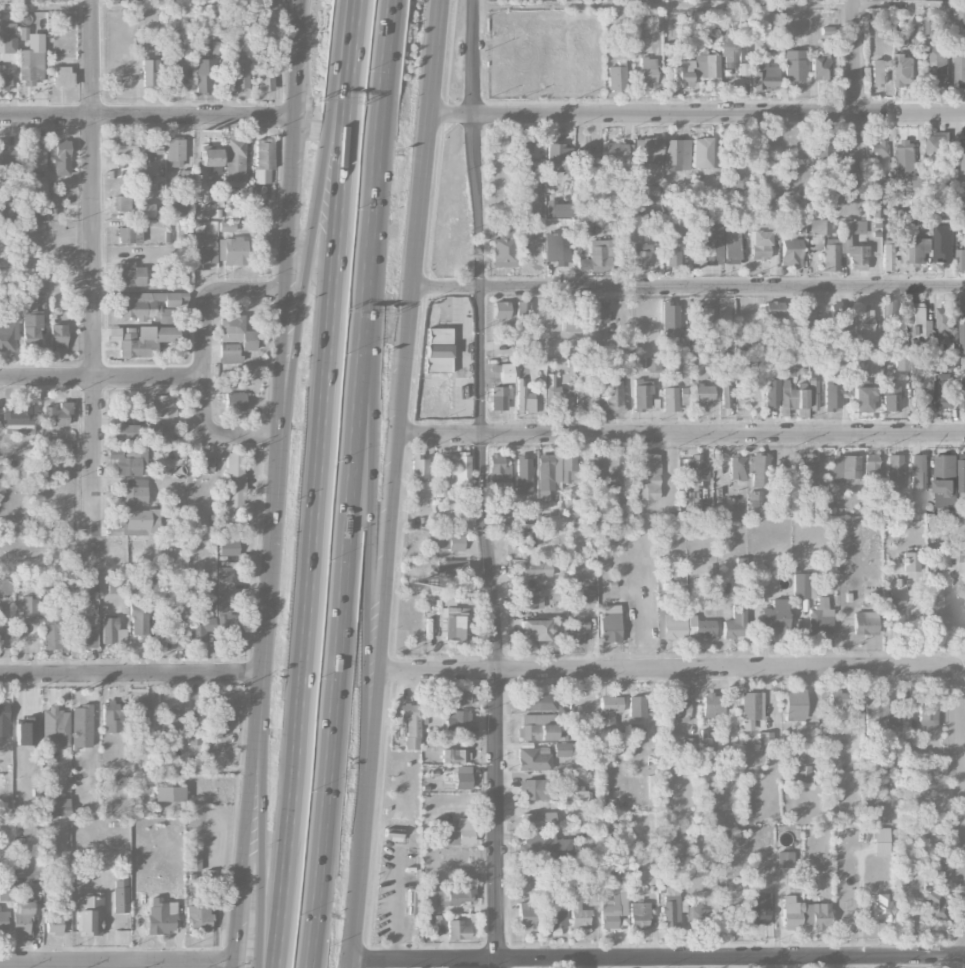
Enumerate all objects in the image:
road: (720, 4)
building: (964, 18)
building: (699, 20)
building: (655, 21)
building: (8, 29)
building: (139, 44)
building: (8, 45)
road: (350, 46)
building: (730, 47)
road: (384, 52)
building: (30, 58)
road: (335, 59)
building: (793, 65)
building: (939, 65)
building: (707, 66)
building: (820, 67)
building: (960, 68)
building: (905, 69)
building: (647, 71)
building: (879, 71)
building: (150, 73)
building: (240, 73)
building: (202, 75)
building: (616, 75)
building: (683, 75)
building: (62, 76)
building: (765, 76)
building: (174, 77)
building: (4, 80)
building: (265, 80)
road: (854, 110)
road: (697, 114)
road: (148, 116)
building: (938, 143)
building: (822, 145)
building: (123, 147)
building: (174, 149)
building: (647, 150)
building: (147, 151)
building: (735, 151)
building: (524, 152)
building: (701, 152)
building: (879, 152)
building: (6, 153)
building: (676, 154)
building: (963, 154)
building: (37, 155)
building: (617, 155)
building: (907, 156)
building: (59, 157)
building: (557, 157)
building: (211, 159)
building: (234, 160)
building: (587, 160)
building: (263, 161)
building: (186, 175)
building: (531, 180)
building: (917, 180)
building: (38, 185)
building: (142, 185)
building: (831, 197)
building: (121, 203)
building: (145, 210)
building: (183, 210)
building: (8, 211)
building: (801, 226)
building: (226, 227)
building: (853, 227)
building: (124, 235)
building: (262, 237)
building: (759, 240)
building: (707, 243)
building: (504, 245)
building: (673, 245)
building: (731, 245)
building: (825, 245)
building: (557, 246)
building: (920, 249)
building: (231, 251)
building: (790, 251)
building: (203, 252)
building: (853, 253)
building: (601, 254)
building: (641, 254)
road: (306, 255)
building: (887, 255)
building: (961, 259)
road: (95, 268)
building: (130, 274)
road: (688, 288)
road: (207, 298)
building: (147, 305)
building: (500, 310)
building: (522, 311)
building: (773, 312)
building: (805, 312)
building: (888, 313)
building: (598, 314)
building: (837, 314)
building: (919, 318)
building: (862, 319)
building: (946, 319)
building: (670, 320)
building: (703, 321)
building: (567, 326)
building: (235, 332)
building: (7, 334)
building: (962, 334)
building: (816, 335)
building: (57, 336)
building: (593, 338)
building: (142, 340)
building: (915, 343)
building: (871, 347)
building: (438, 350)
building: (228, 352)
building: (652, 364)
building: (870, 365)
building: (925, 365)
building: (506, 372)
road: (149, 378)
road: (47, 379)
building: (228, 381)
building: (725, 391)
building: (944, 391)
building: (771, 392)
building: (703, 393)
building: (813, 393)
building: (641, 394)
building: (552, 395)
building: (962, 395)
building: (595, 396)
building: (612, 396)
building: (791, 396)
building: (834, 396)
building: (890, 396)
building: (498, 398)
building: (581, 399)
building: (669, 399)
building: (861, 399)
building: (919, 400)
building: (234, 401)
building: (156, 407)
road: (206, 409)
building: (56, 415)
building: (18, 419)
building: (123, 432)
building: (156, 435)
road: (681, 435)
building: (128, 461)
building: (203, 464)
building: (749, 464)
building: (419, 467)
building: (615, 467)
building: (695, 467)
building: (737, 467)
building: (461, 468)
building: (568, 468)
building: (808, 468)
building: (845, 468)
building: (499, 469)
building: (593, 469)
building: (759, 469)
building: (871, 469)
building: (919, 471)
building: (895, 472)
building: (961, 472)
road: (369, 473)
building: (440, 473)
building: (547, 474)
building: (522, 475)
building: (646, 476)
building: (234, 479)
building: (945, 480)
road: (394, 483)
road: (274, 484)
road: (484, 484)
building: (134, 491)
building: (755, 498)
building: (505, 505)
building: (825, 506)
building: (140, 521)
road: (313, 530)
road: (345, 536)
building: (527, 539)
building: (453, 543)
building: (228, 548)
building: (910, 561)
building: (451, 566)
building: (536, 569)
building: (146, 575)
building: (803, 585)
building: (113, 587)
building: (209, 589)
building: (4, 591)
building: (82, 592)
building: (586, 596)
building: (531, 599)
building: (448, 603)
building: (225, 606)
building: (29, 607)
building: (938, 610)
building: (894, 612)
building: (775, 616)
building: (820, 618)
building: (138, 619)
building: (170, 621)
building: (735, 622)
building: (609, 623)
building: (865, 623)
building: (670, 624)
building: (200, 625)
building: (456, 626)
building: (699, 627)
building: (536, 629)
building: (51, 631)
building: (576, 631)
building: (112, 632)
building: (82, 635)
building: (1, 636)
road: (670, 670)
road: (130, 671)
building: (458, 697)
building: (837, 698)
building: (536, 699)
building: (712, 705)
building: (794, 705)
building: (636, 706)
building: (609, 709)
building: (676, 709)
building: (751, 709)
building: (140, 713)
building: (878, 713)
building: (221, 714)
building: (926, 715)
building: (111, 716)
building: (3, 719)
road: (962, 720)
building: (455, 721)
building: (169, 723)
building: (410, 725)
building: (82, 726)
building: (55, 727)
building: (536, 727)
building: (635, 733)
building: (193, 736)
building: (705, 743)
building: (689, 744)
building: (562, 749)
building: (453, 756)
building: (532, 759)
building: (885, 765)
building: (462, 777)
building: (534, 789)
building: (168, 793)
building: (581, 795)
building: (55, 806)
building: (537, 819)
building: (458, 833)
building: (880, 841)
building: (543, 845)
road: (259, 847)
building: (25, 851)
building: (784, 859)
building: (193, 861)
building: (941, 868)
building: (207, 876)
building: (62, 881)
building: (5, 894)
building: (455, 895)
building: (120, 896)
building: (411, 902)
building: (933, 906)
building: (878, 908)
building: (612, 909)
building: (756, 909)
building: (670, 911)
building: (790, 913)
building: (89, 914)
building: (816, 914)
building: (525, 915)
building: (638, 915)
building: (160, 916)
building: (578, 916)
building: (698, 917)
building: (21, 918)
building: (198, 918)
road: (350, 919)
building: (554, 919)
building: (3, 920)
building: (52, 920)
building: (456, 930)
road: (658, 959)
road: (116, 961)
road: (107, 965)

